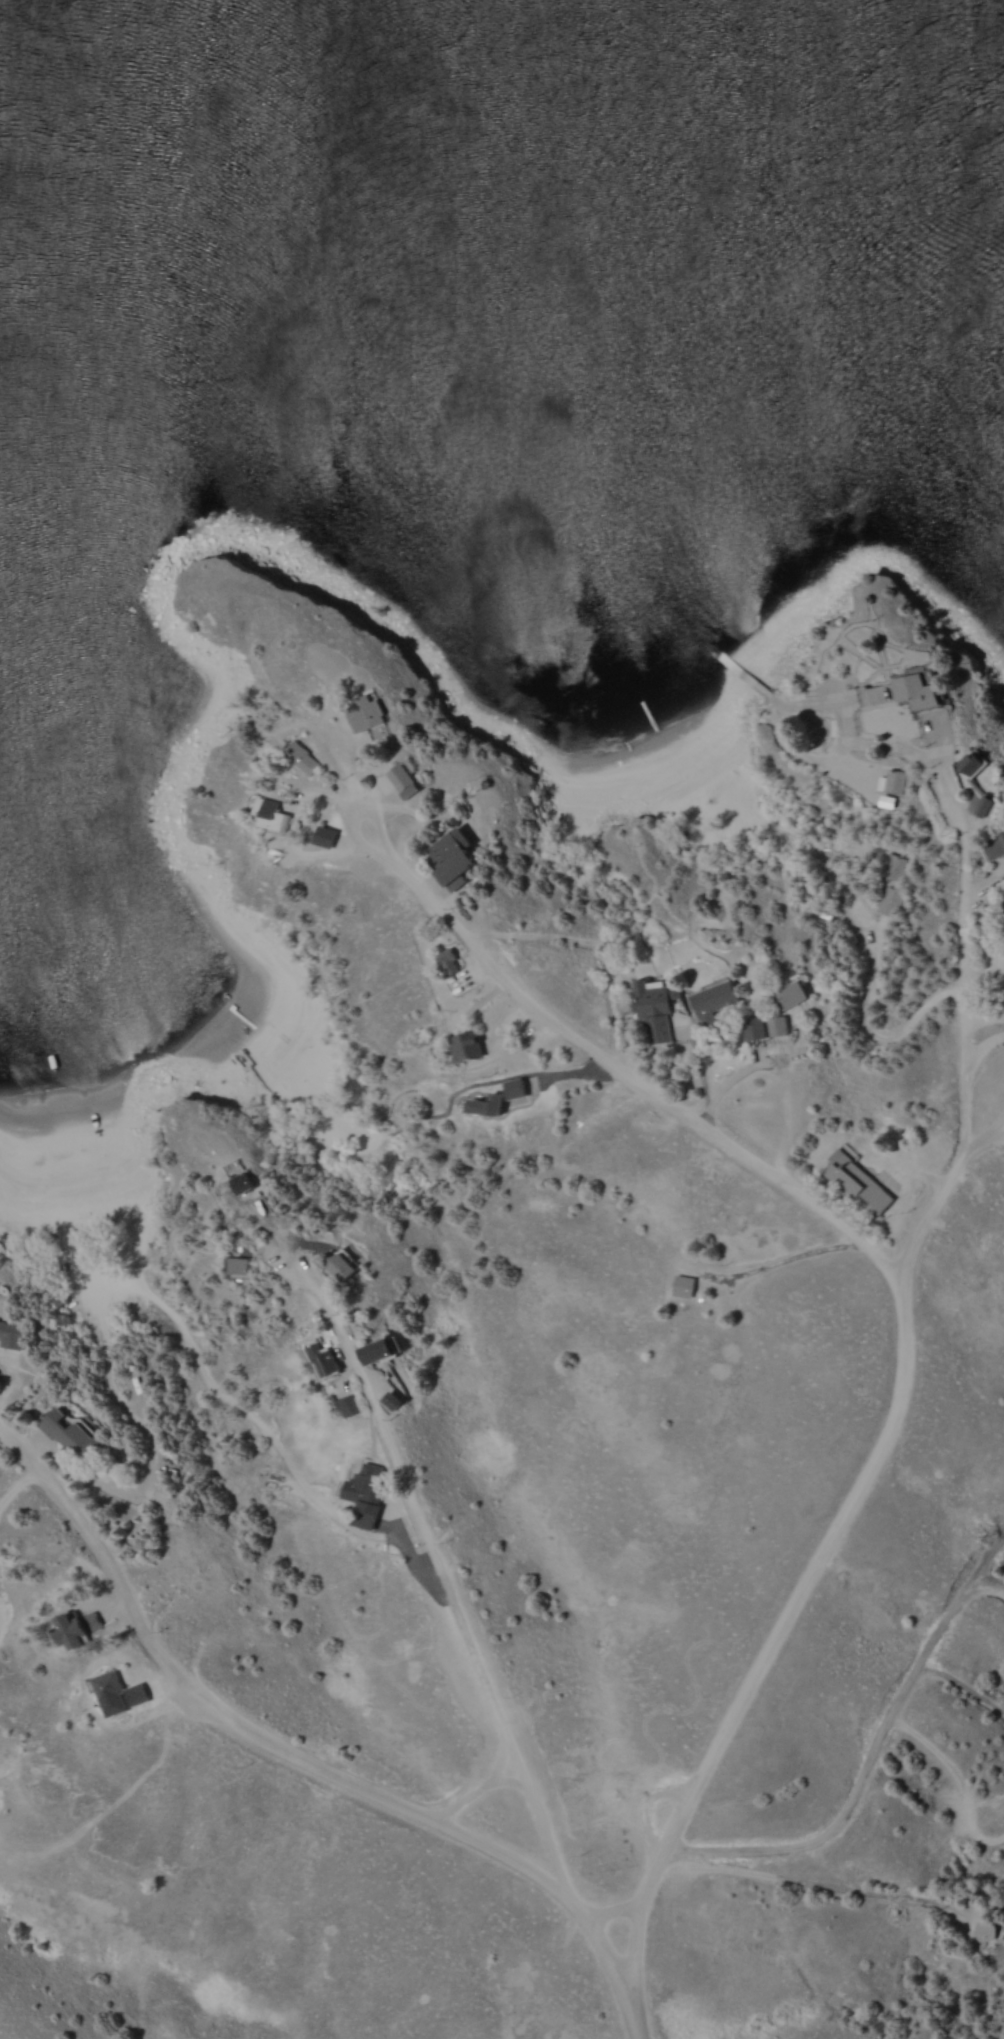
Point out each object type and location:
building: (922, 692)
building: (875, 697)
building: (368, 712)
building: (303, 758)
building: (977, 763)
building: (405, 781)
building: (892, 781)
building: (987, 806)
building: (273, 815)
building: (994, 847)
building: (457, 859)
building: (893, 867)
building: (889, 902)
building: (452, 962)
building: (793, 994)
building: (716, 1003)
building: (660, 1013)
building: (779, 1026)
road: (874, 1031)
road: (964, 1031)
building: (755, 1033)
road: (983, 1045)
building: (468, 1048)
building: (491, 1108)
building: (255, 1184)
building: (862, 1186)
building: (349, 1265)
building: (249, 1266)
building: (685, 1287)
road: (902, 1309)
building: (12, 1335)
building: (383, 1351)
building: (328, 1361)
building: (396, 1401)
building: (354, 1405)
building: (71, 1434)
building: (368, 1484)
building: (79, 1629)
road: (471, 1645)
building: (110, 1686)
road: (229, 1716)
road: (870, 1750)
building: (997, 1806)
building: (992, 1929)

